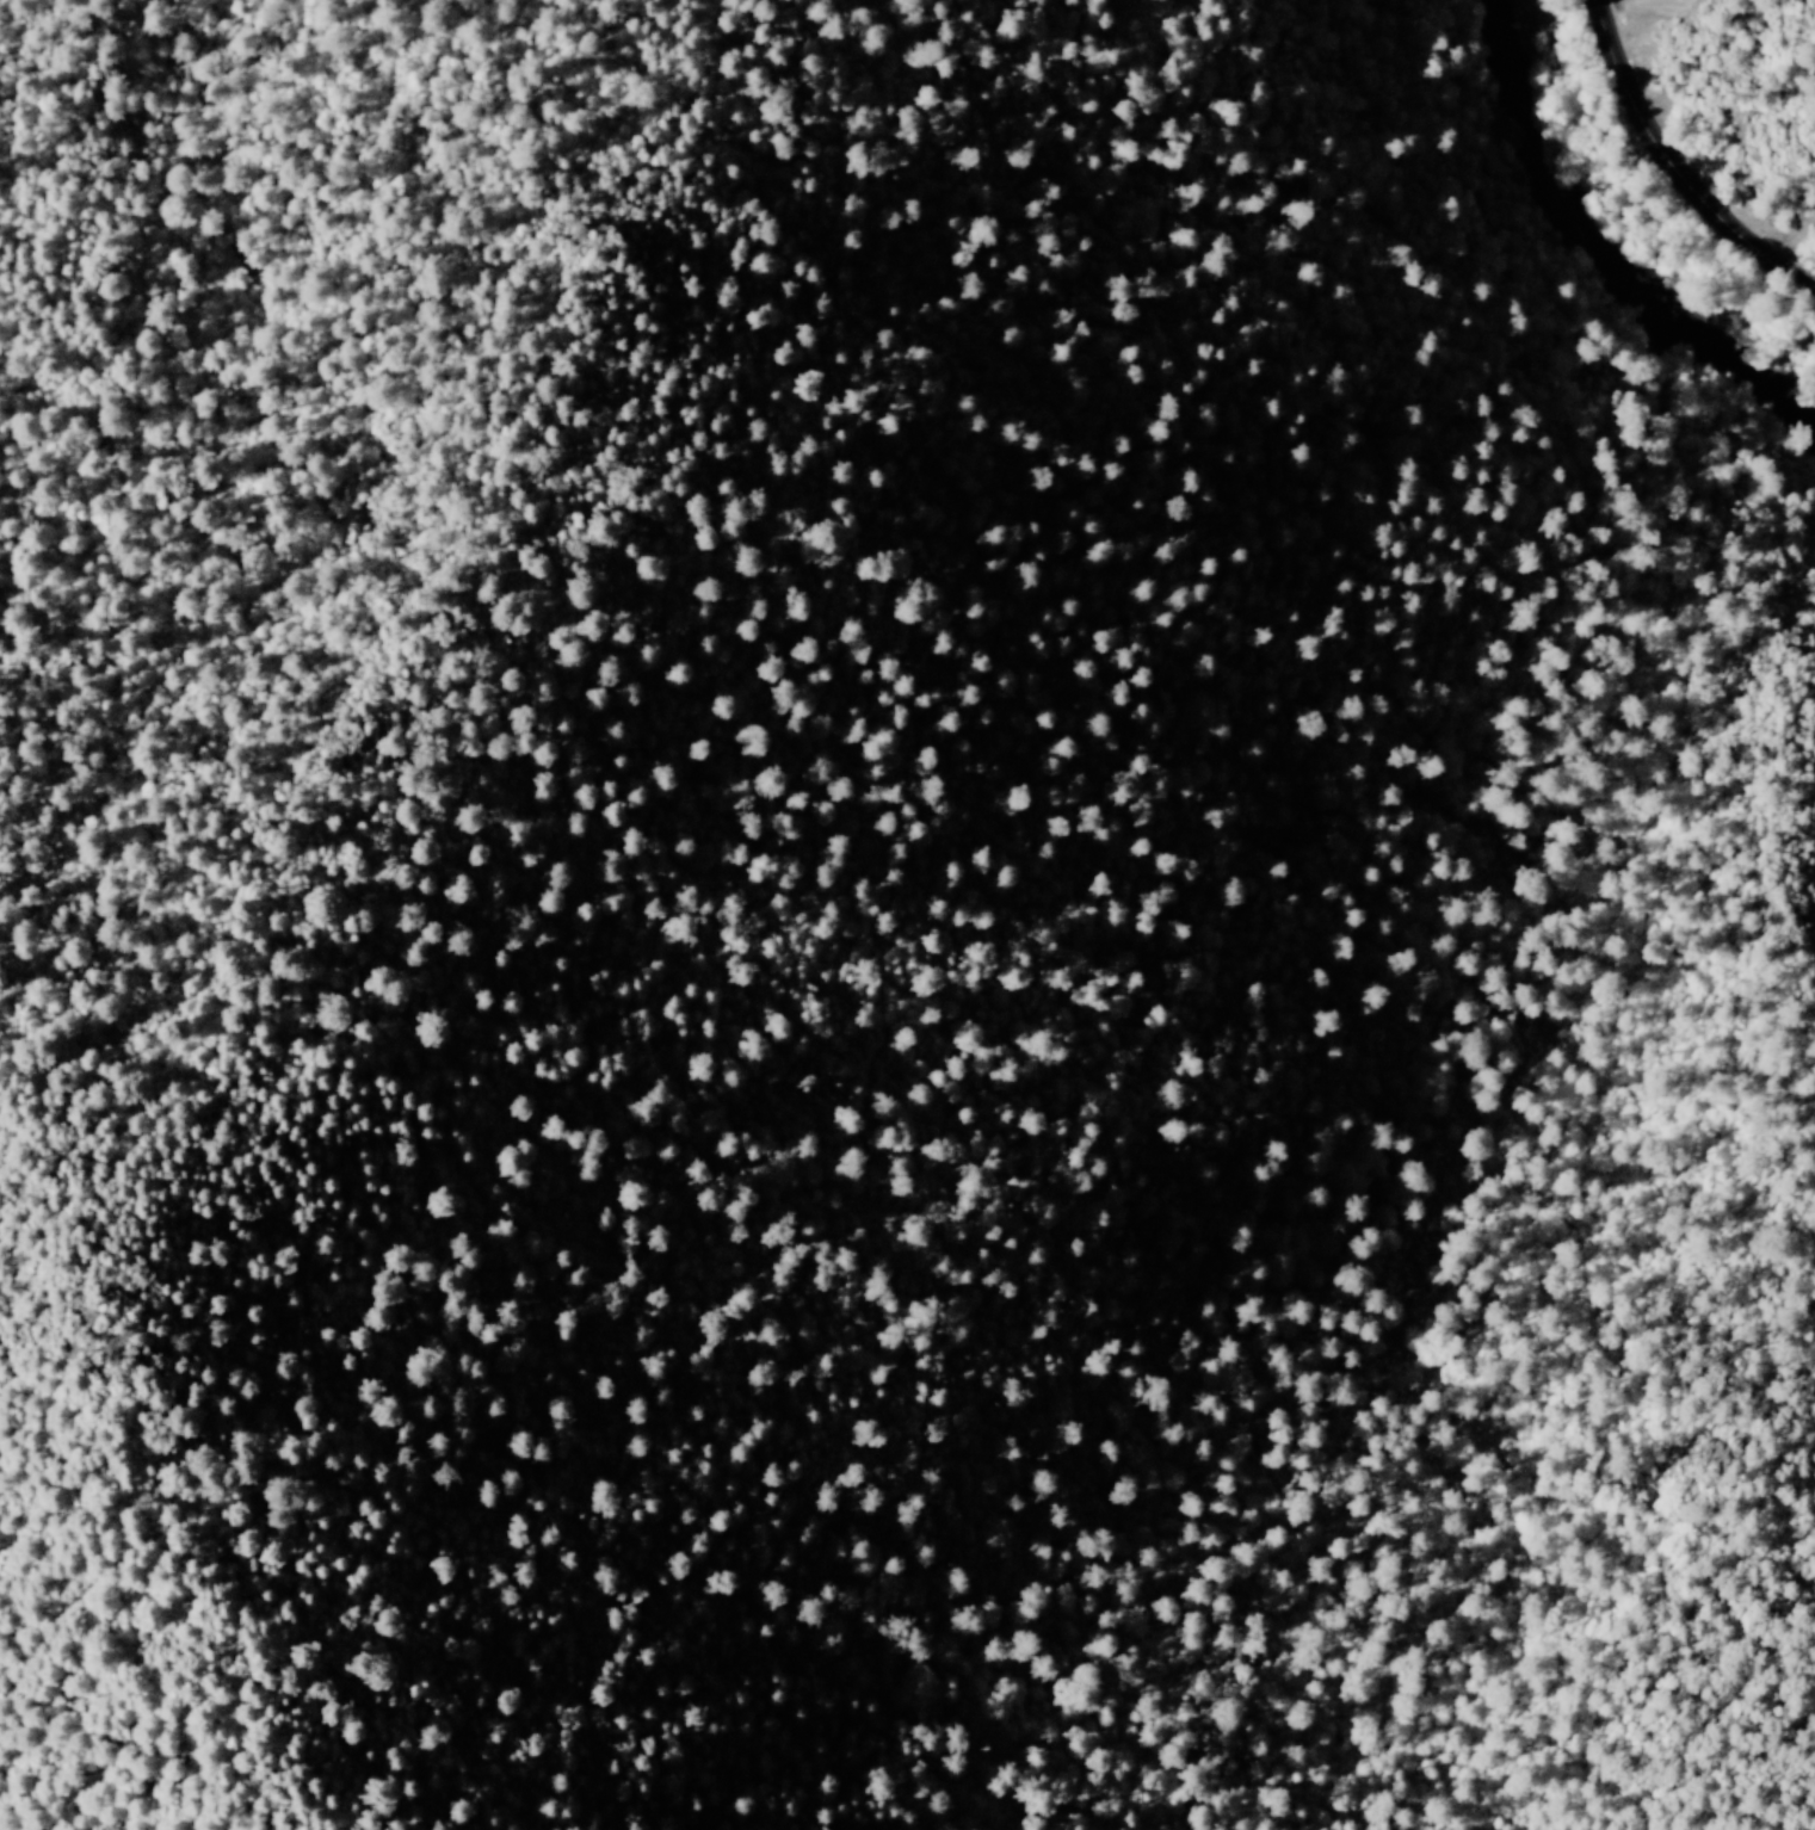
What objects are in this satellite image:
road: (1680, 165)
river: (1581, 174)
river: (1762, 378)

